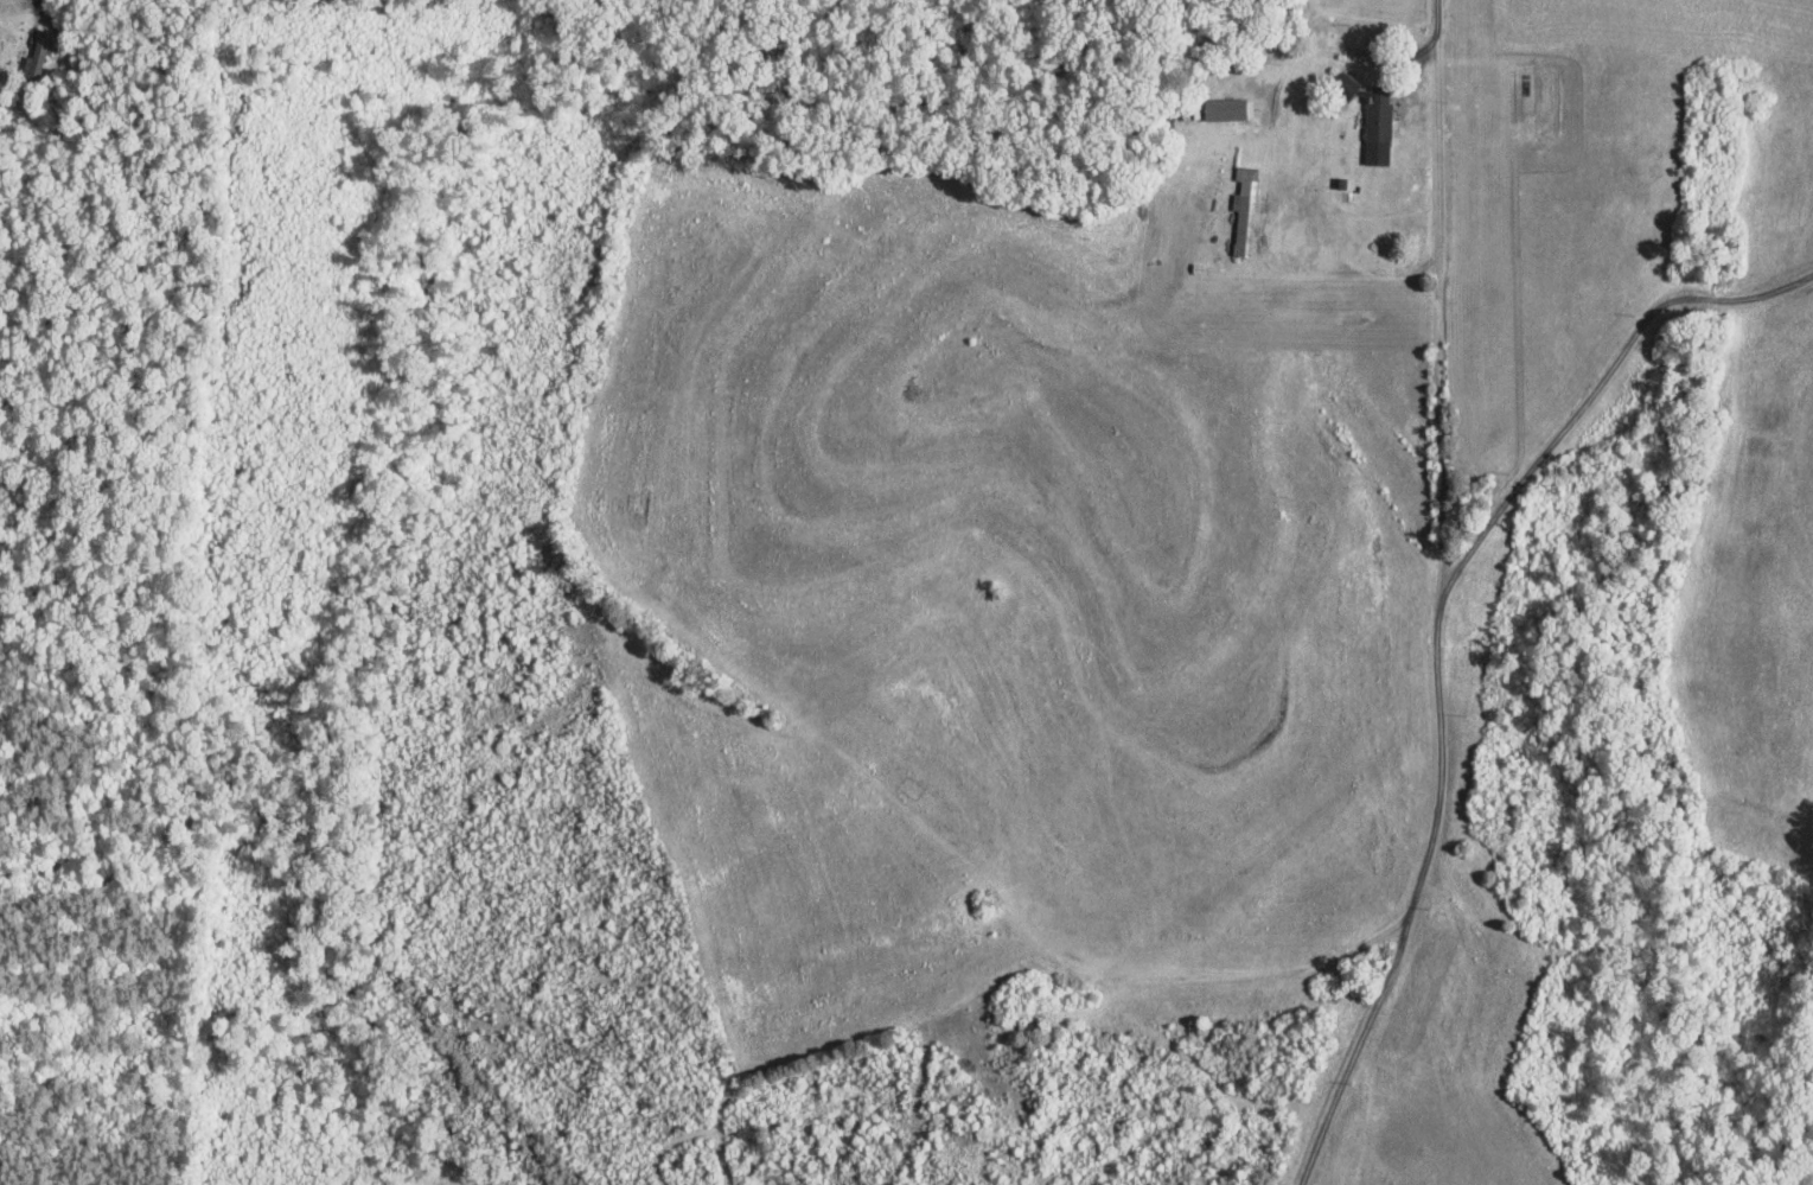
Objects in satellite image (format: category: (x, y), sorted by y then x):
road: (1435, 27)
building: (1342, 84)
building: (1223, 108)
building: (1374, 127)
building: (1243, 209)

